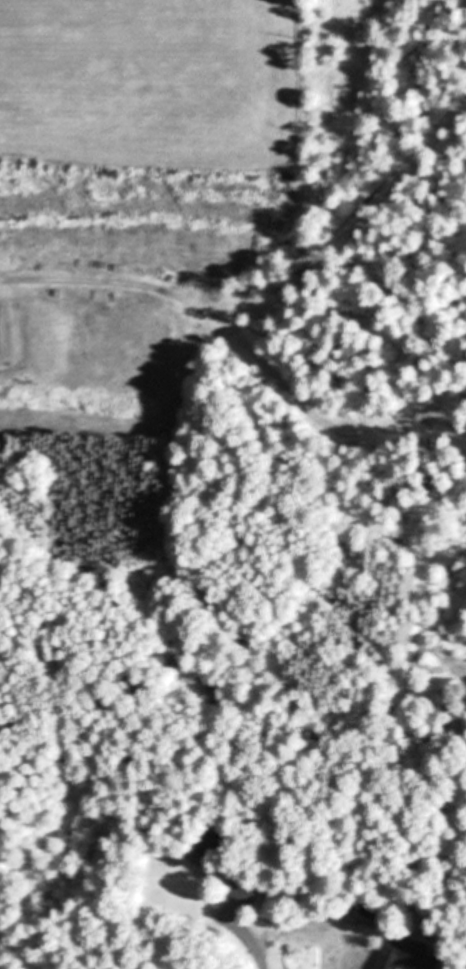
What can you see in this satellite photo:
building: (244, 889)
road: (253, 945)
building: (408, 956)

